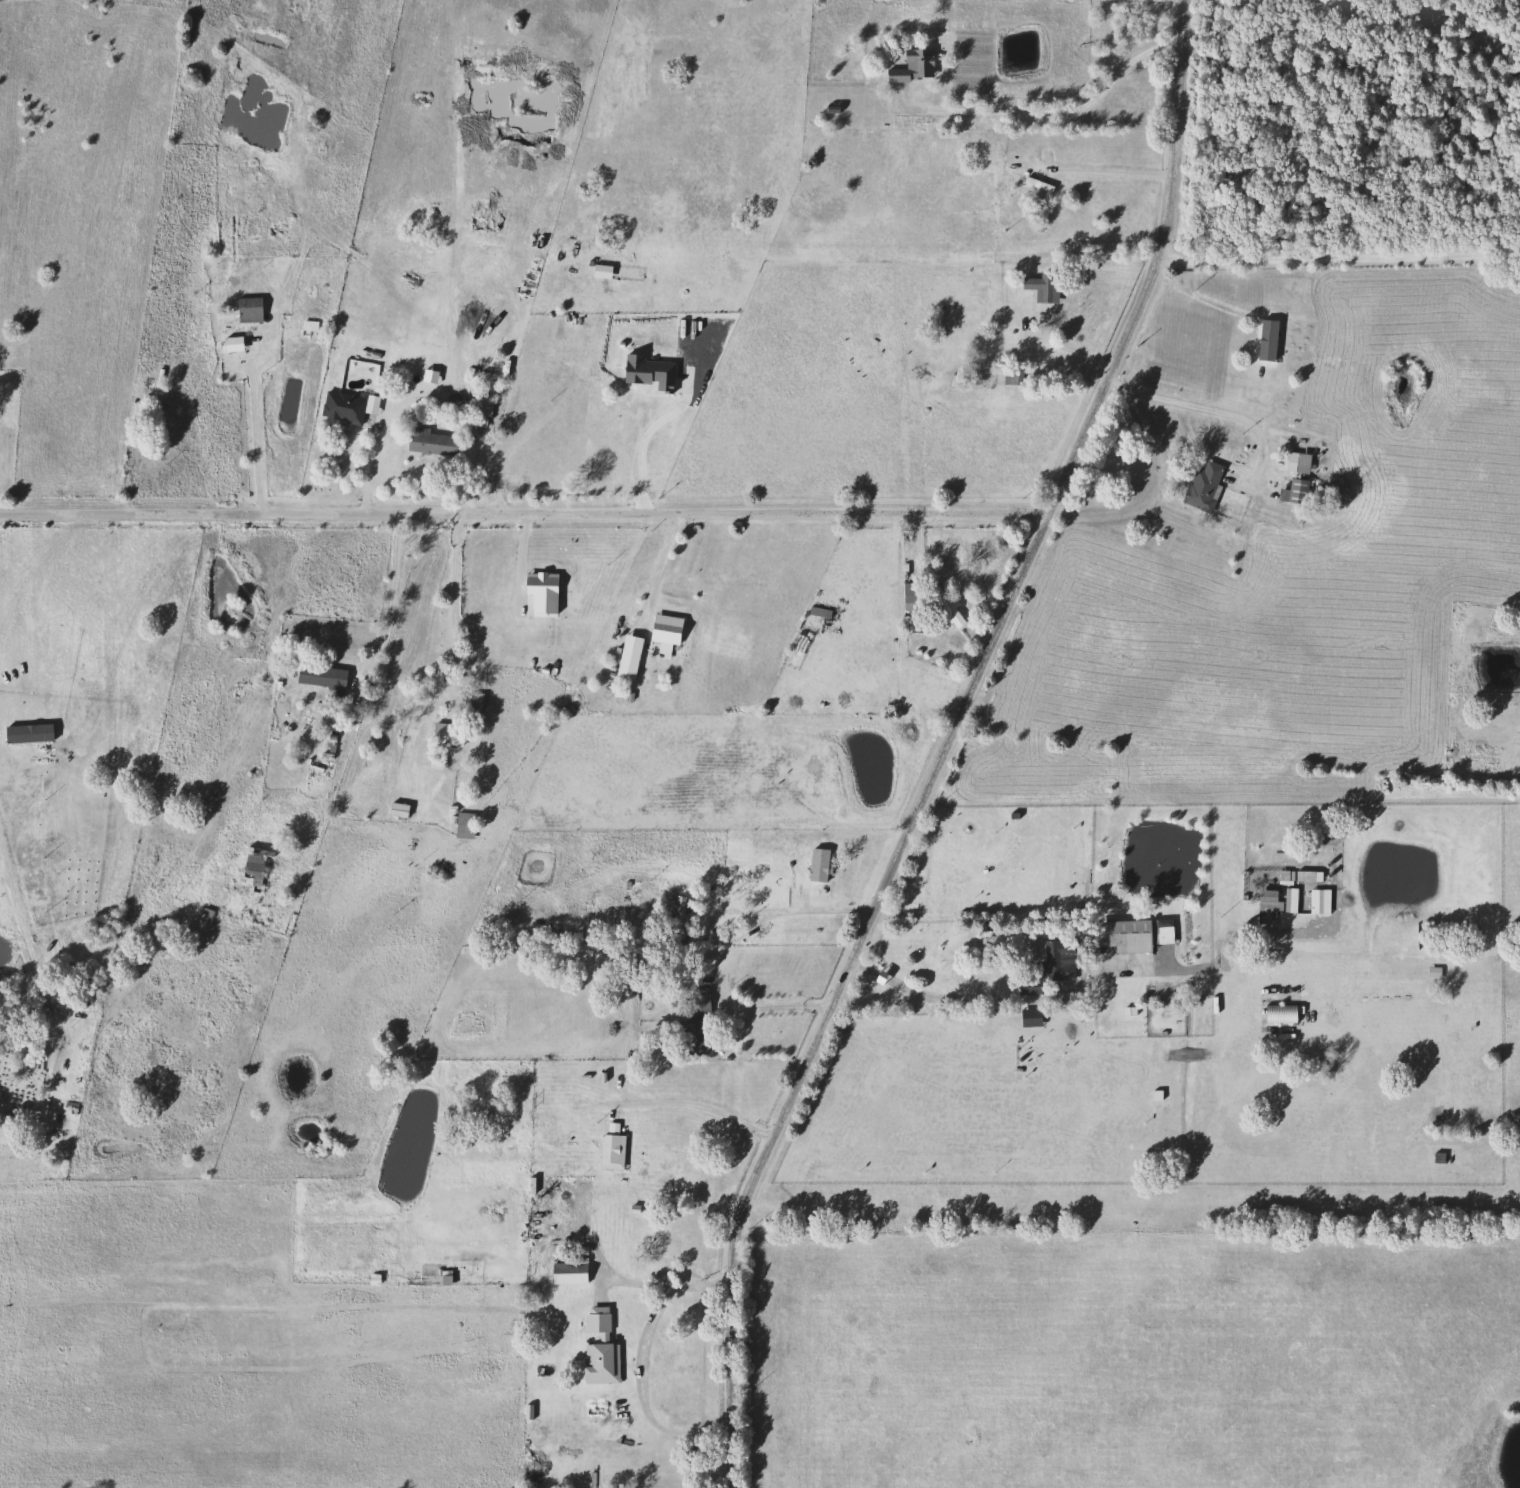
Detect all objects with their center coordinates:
building: (912, 66)
road: (1051, 115)
road: (1115, 177)
building: (1036, 183)
building: (248, 221)
road: (1341, 253)
building: (1033, 292)
building: (247, 310)
road: (1070, 358)
building: (980, 363)
building: (1010, 377)
road: (1217, 403)
building: (341, 408)
building: (478, 412)
road: (253, 427)
road: (648, 431)
building: (426, 442)
road: (371, 461)
building: (1296, 462)
building: (1202, 487)
building: (1293, 491)
road: (527, 514)
road: (0, 519)
road: (661, 561)
road: (390, 596)
building: (909, 596)
building: (943, 603)
road: (460, 606)
building: (818, 611)
building: (662, 628)
building: (321, 681)
building: (473, 700)
building: (444, 733)
road: (954, 745)
building: (433, 762)
building: (395, 809)
building: (463, 825)
building: (816, 863)
building: (252, 869)
road: (25, 895)
building: (1267, 900)
road: (810, 910)
building: (1121, 934)
building: (1056, 958)
building: (695, 998)
road: (982, 1001)
road: (779, 1005)
road: (674, 1100)
building: (609, 1150)
building: (566, 1271)
building: (597, 1349)
road: (638, 1362)

